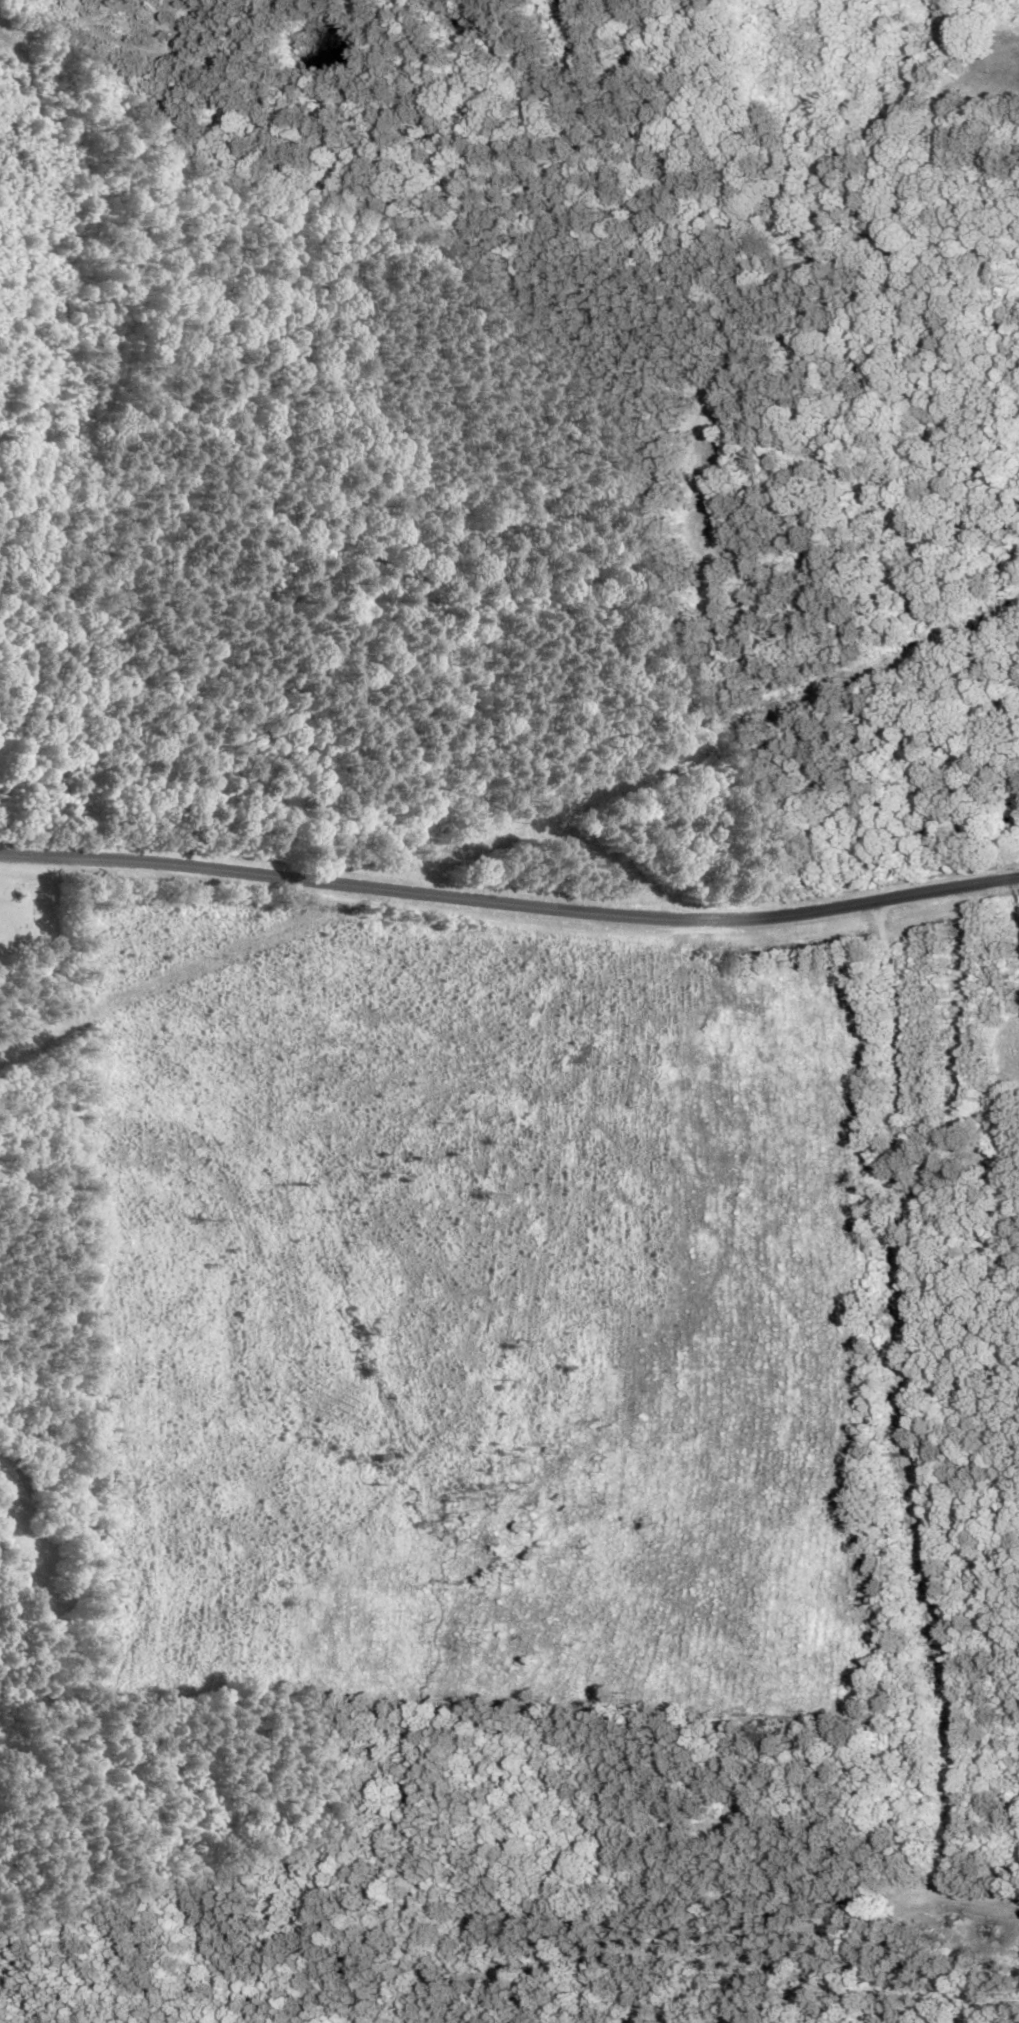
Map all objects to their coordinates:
road: (509, 909)
building: (848, 1901)

